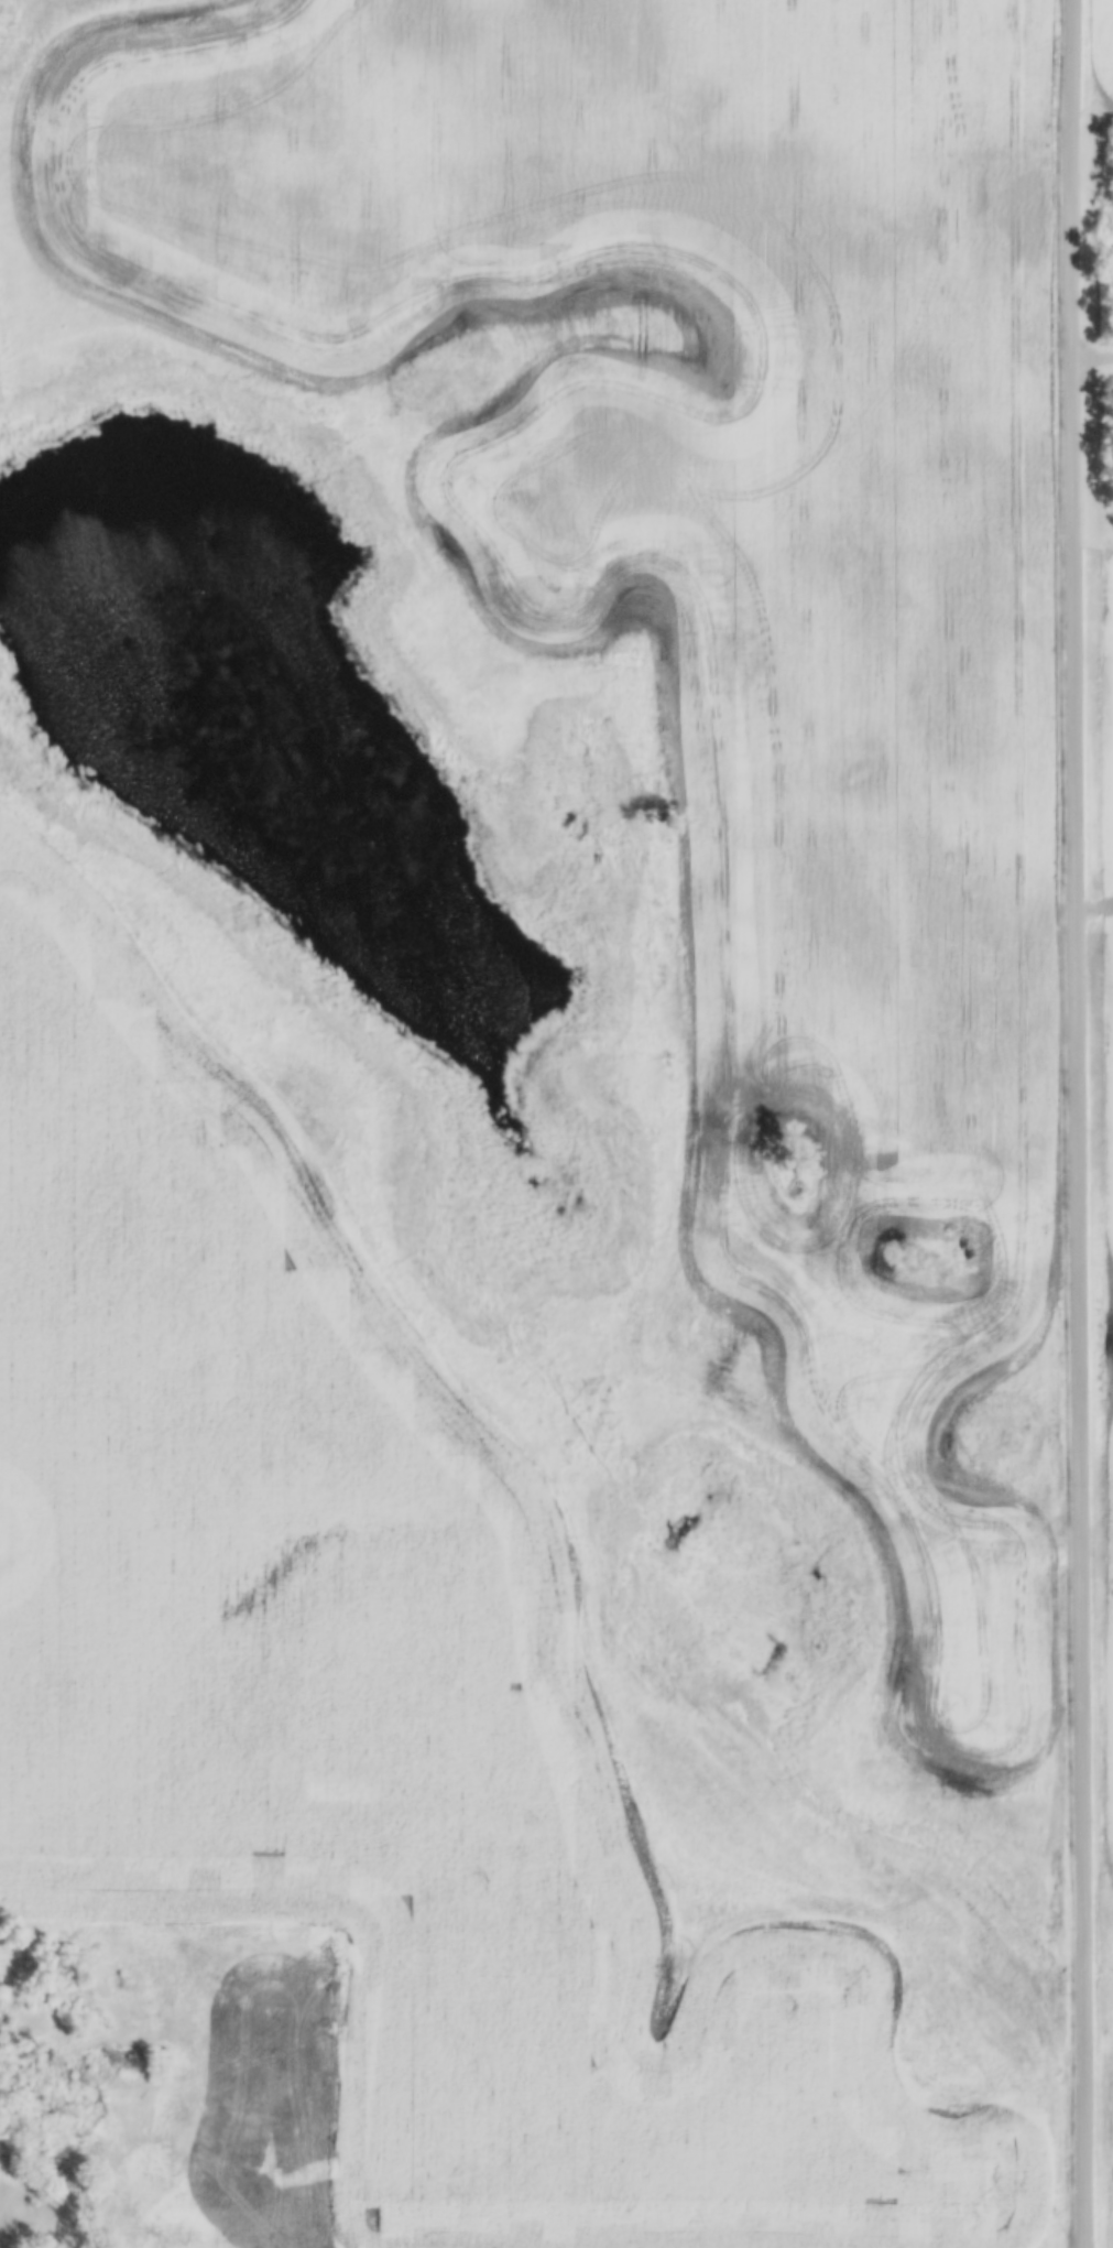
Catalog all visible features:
road: (1093, 368)
road: (1081, 1123)

